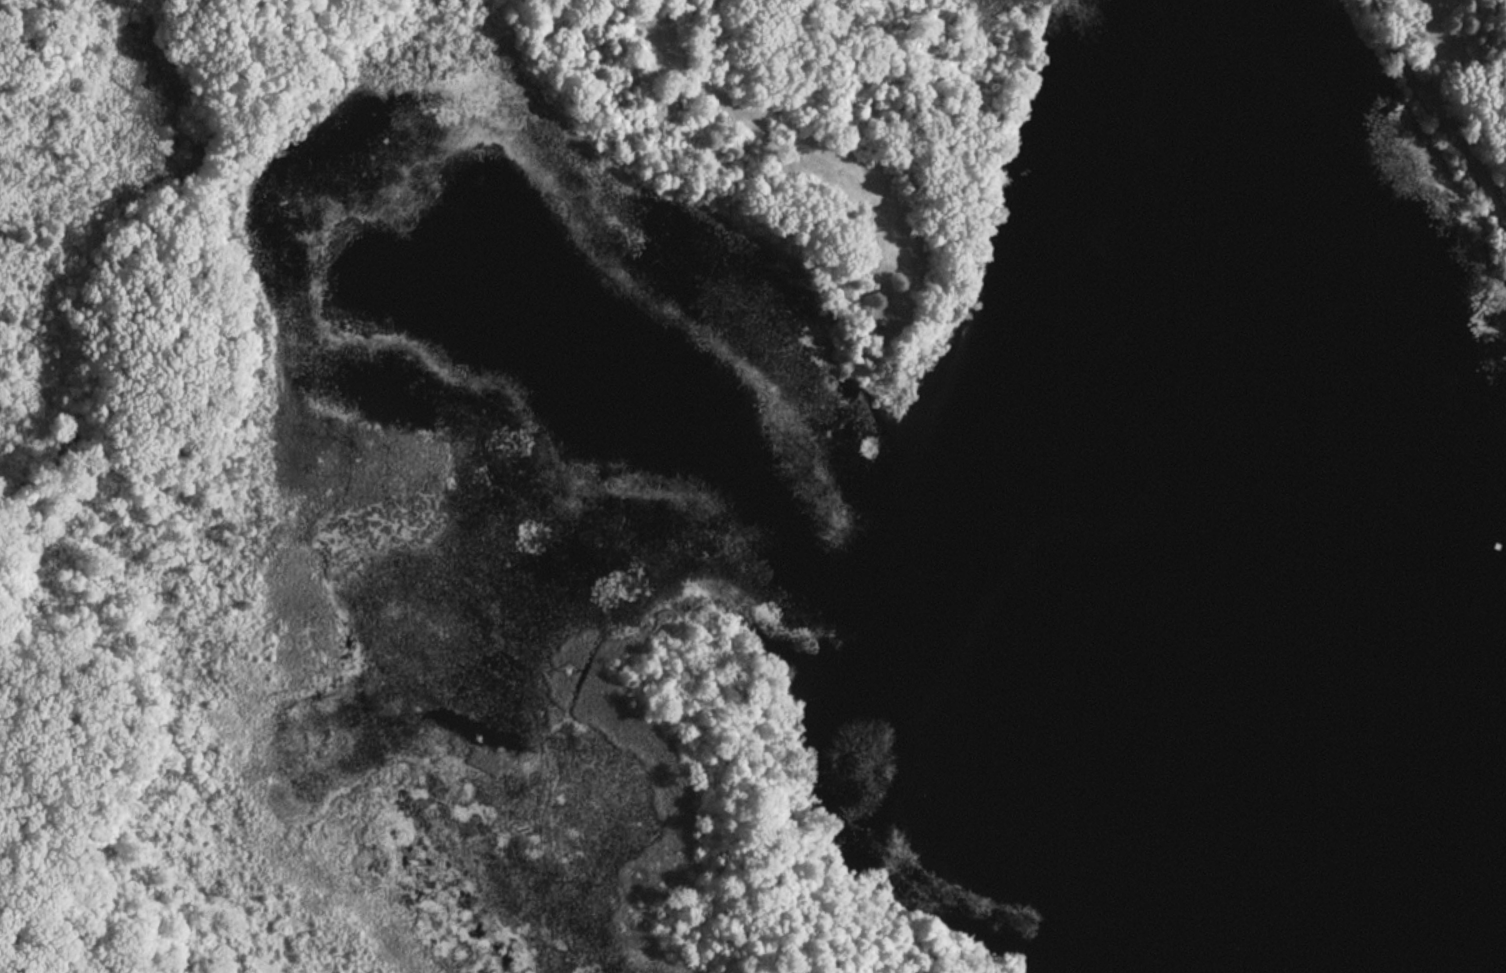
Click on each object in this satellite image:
road: (1439, 114)
park: (328, 651)
road: (93, 811)

